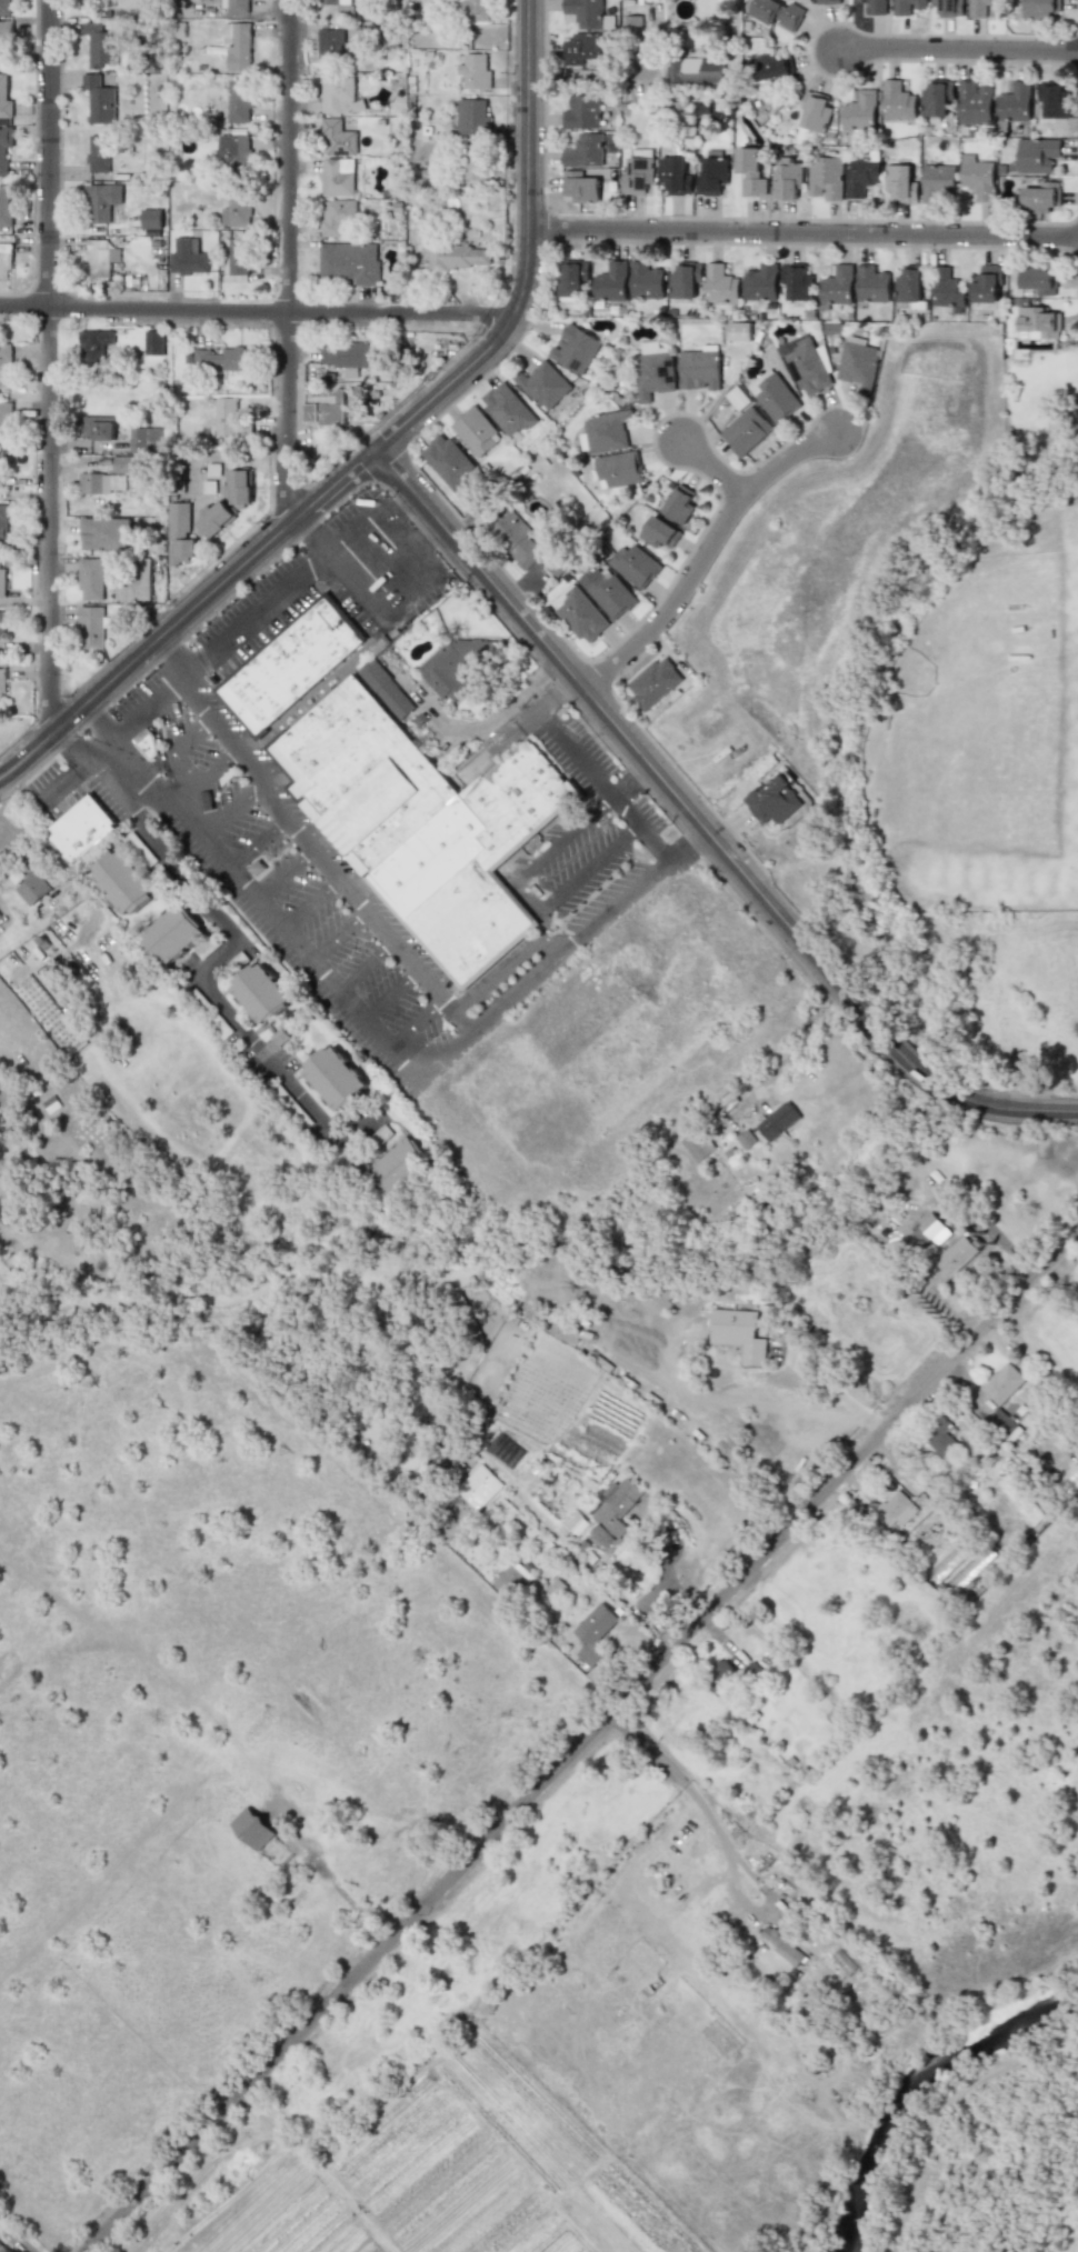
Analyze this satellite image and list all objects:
building: (99, 0)
building: (827, 1)
building: (333, 2)
building: (234, 6)
building: (4, 7)
building: (875, 7)
building: (907, 7)
building: (949, 8)
building: (979, 8)
building: (1040, 8)
building: (476, 9)
building: (585, 12)
building: (777, 13)
building: (4, 42)
building: (102, 44)
building: (329, 44)
building: (237, 46)
building: (581, 47)
road: (958, 48)
building: (770, 68)
building: (695, 70)
building: (475, 72)
road: (588, 78)
building: (339, 96)
building: (936, 98)
building: (4, 99)
building: (1052, 99)
building: (99, 100)
building: (239, 101)
building: (897, 101)
building: (1014, 102)
building: (974, 103)
building: (815, 111)
building: (859, 111)
building: (581, 112)
building: (472, 117)
building: (337, 138)
building: (4, 146)
building: (233, 150)
building: (589, 150)
building: (98, 153)
building: (1037, 154)
building: (476, 162)
road: (528, 163)
building: (750, 171)
building: (861, 174)
building: (638, 176)
building: (675, 176)
building: (711, 176)
building: (337, 177)
building: (977, 177)
building: (786, 178)
building: (826, 178)
building: (937, 182)
building: (580, 187)
building: (1037, 198)
building: (101, 202)
building: (4, 206)
building: (236, 212)
building: (337, 216)
building: (151, 219)
road: (802, 230)
building: (457, 256)
building: (188, 257)
building: (100, 258)
building: (4, 261)
road: (288, 261)
building: (348, 262)
building: (575, 277)
building: (685, 280)
building: (611, 281)
building: (646, 281)
building: (797, 281)
building: (1038, 281)
building: (761, 282)
building: (720, 284)
building: (872, 284)
building: (909, 284)
building: (986, 284)
building: (838, 286)
building: (948, 288)
road: (254, 311)
building: (1038, 321)
building: (740, 330)
building: (153, 342)
building: (93, 343)
building: (576, 349)
building: (349, 354)
building: (223, 359)
building: (858, 363)
building: (4, 364)
road: (49, 364)
building: (807, 364)
building: (655, 369)
building: (699, 370)
building: (543, 384)
building: (773, 396)
building: (738, 398)
building: (508, 409)
building: (326, 412)
building: (4, 419)
building: (229, 419)
building: (97, 428)
building: (477, 431)
building: (608, 431)
building: (746, 431)
building: (146, 440)
building: (1, 459)
building: (448, 460)
building: (122, 463)
road: (709, 468)
building: (618, 469)
building: (100, 482)
building: (240, 488)
building: (679, 504)
building: (214, 518)
building: (2, 526)
road: (419, 526)
building: (659, 532)
building: (103, 533)
building: (179, 534)
road: (401, 534)
building: (515, 537)
road: (705, 552)
road: (257, 553)
building: (635, 564)
building: (555, 568)
building: (90, 579)
building: (2, 582)
building: (134, 582)
road: (409, 587)
building: (609, 591)
building: (581, 614)
building: (1, 624)
building: (91, 627)
building: (292, 662)
building: (455, 664)
building: (1, 683)
building: (656, 683)
building: (387, 688)
road: (493, 718)
road: (132, 723)
road: (176, 742)
building: (147, 745)
road: (637, 750)
road: (244, 752)
road: (608, 794)
building: (773, 800)
road: (173, 801)
road: (231, 810)
building: (423, 823)
building: (80, 829)
road: (565, 833)
road: (257, 844)
road: (588, 868)
road: (285, 874)
building: (120, 882)
building: (33, 888)
road: (310, 903)
building: (170, 934)
road: (338, 937)
road: (545, 945)
road: (221, 949)
road: (363, 964)
road: (492, 972)
building: (259, 992)
road: (390, 995)
building: (32, 998)
road: (416, 1023)
road: (378, 1034)
road: (918, 1068)
building: (333, 1077)
road: (1006, 1108)
building: (778, 1121)
building: (698, 1147)
building: (398, 1165)
building: (929, 1232)
road: (992, 1235)
building: (956, 1254)
building: (738, 1333)
building: (1001, 1383)
road: (836, 1391)
building: (940, 1439)
building: (478, 1487)
building: (896, 1509)
building: (613, 1510)
road: (665, 1579)
building: (512, 1582)
road: (682, 1600)
building: (593, 1633)
building: (722, 1671)
building: (752, 1672)
road: (580, 1742)
road: (691, 1794)
building: (251, 1828)
crop: (350, 1830)
building: (780, 1945)

